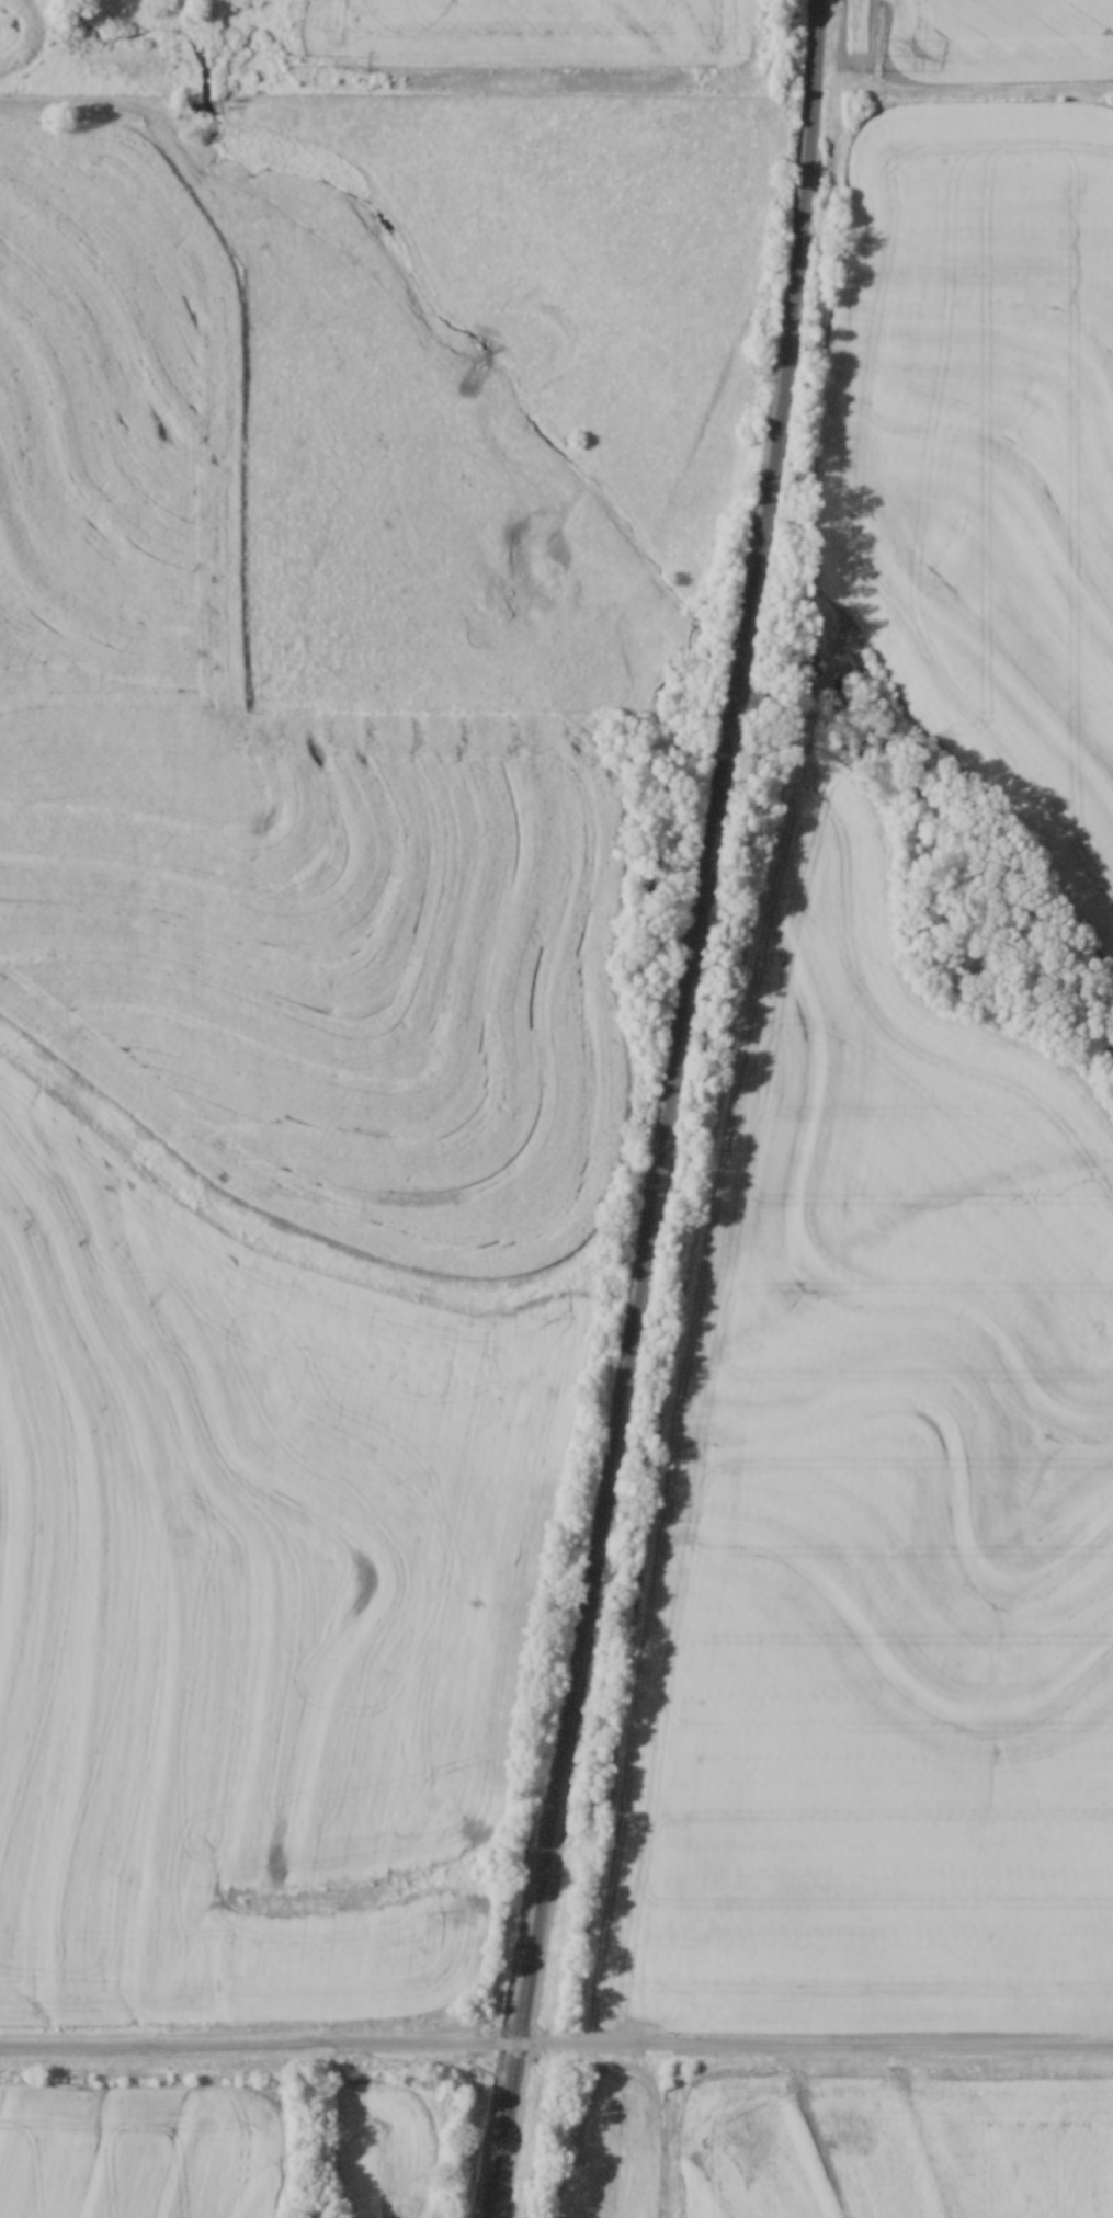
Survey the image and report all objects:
power tower: (283, 59)
power tower: (878, 59)
railway: (668, 1111)
road: (556, 2044)

